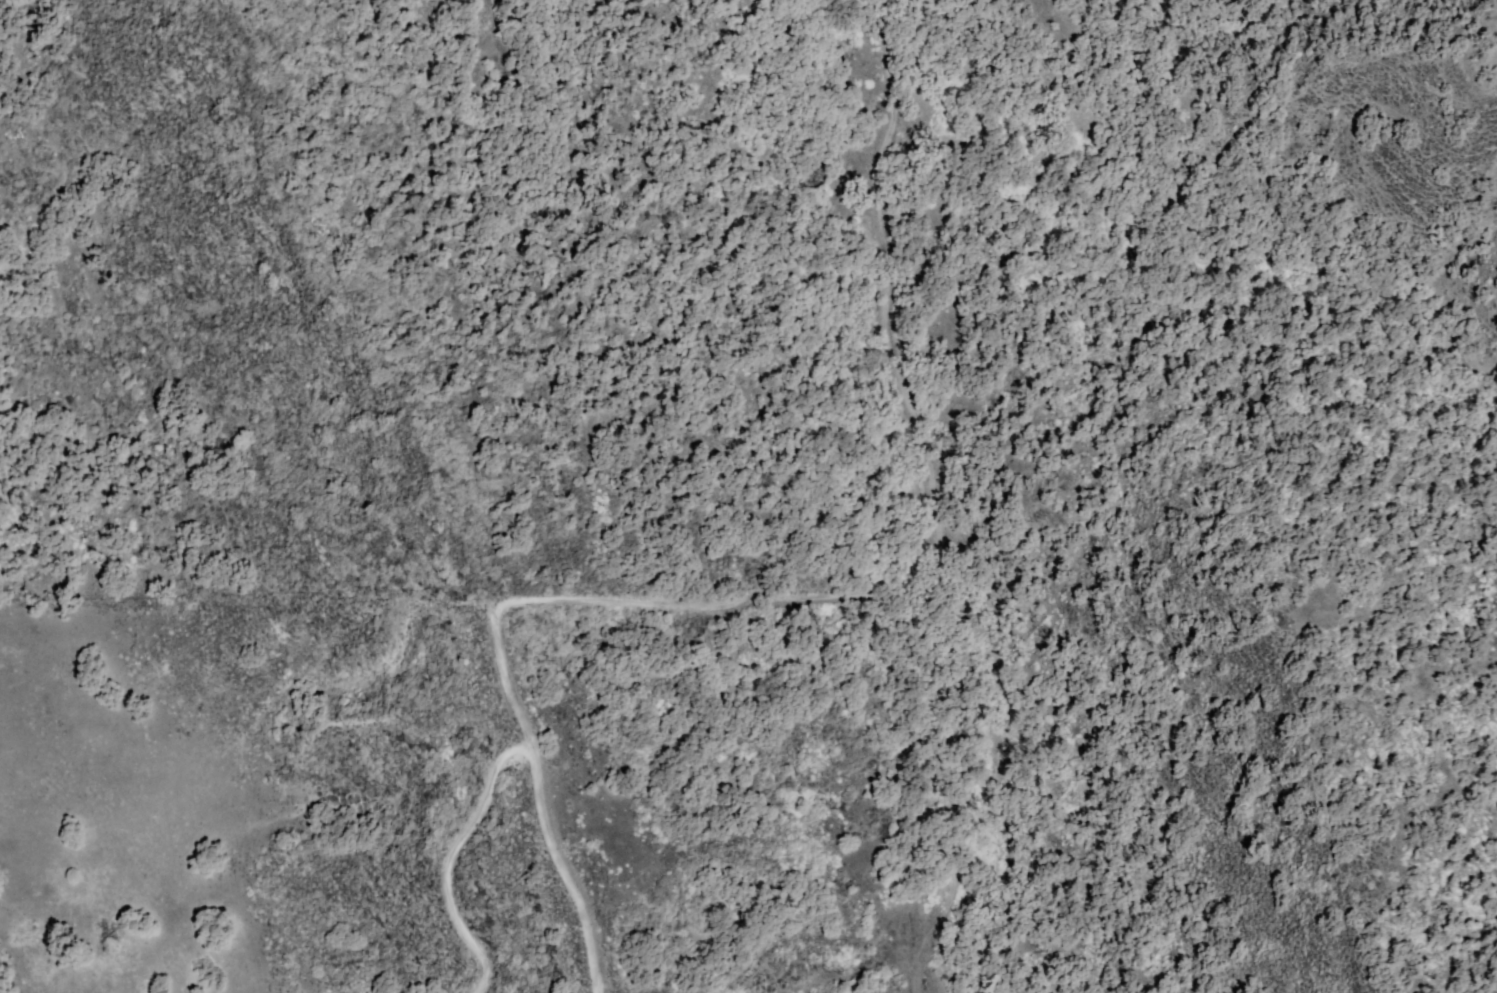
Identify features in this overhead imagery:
road: (934, 268)
road: (491, 743)
road: (7, 976)

